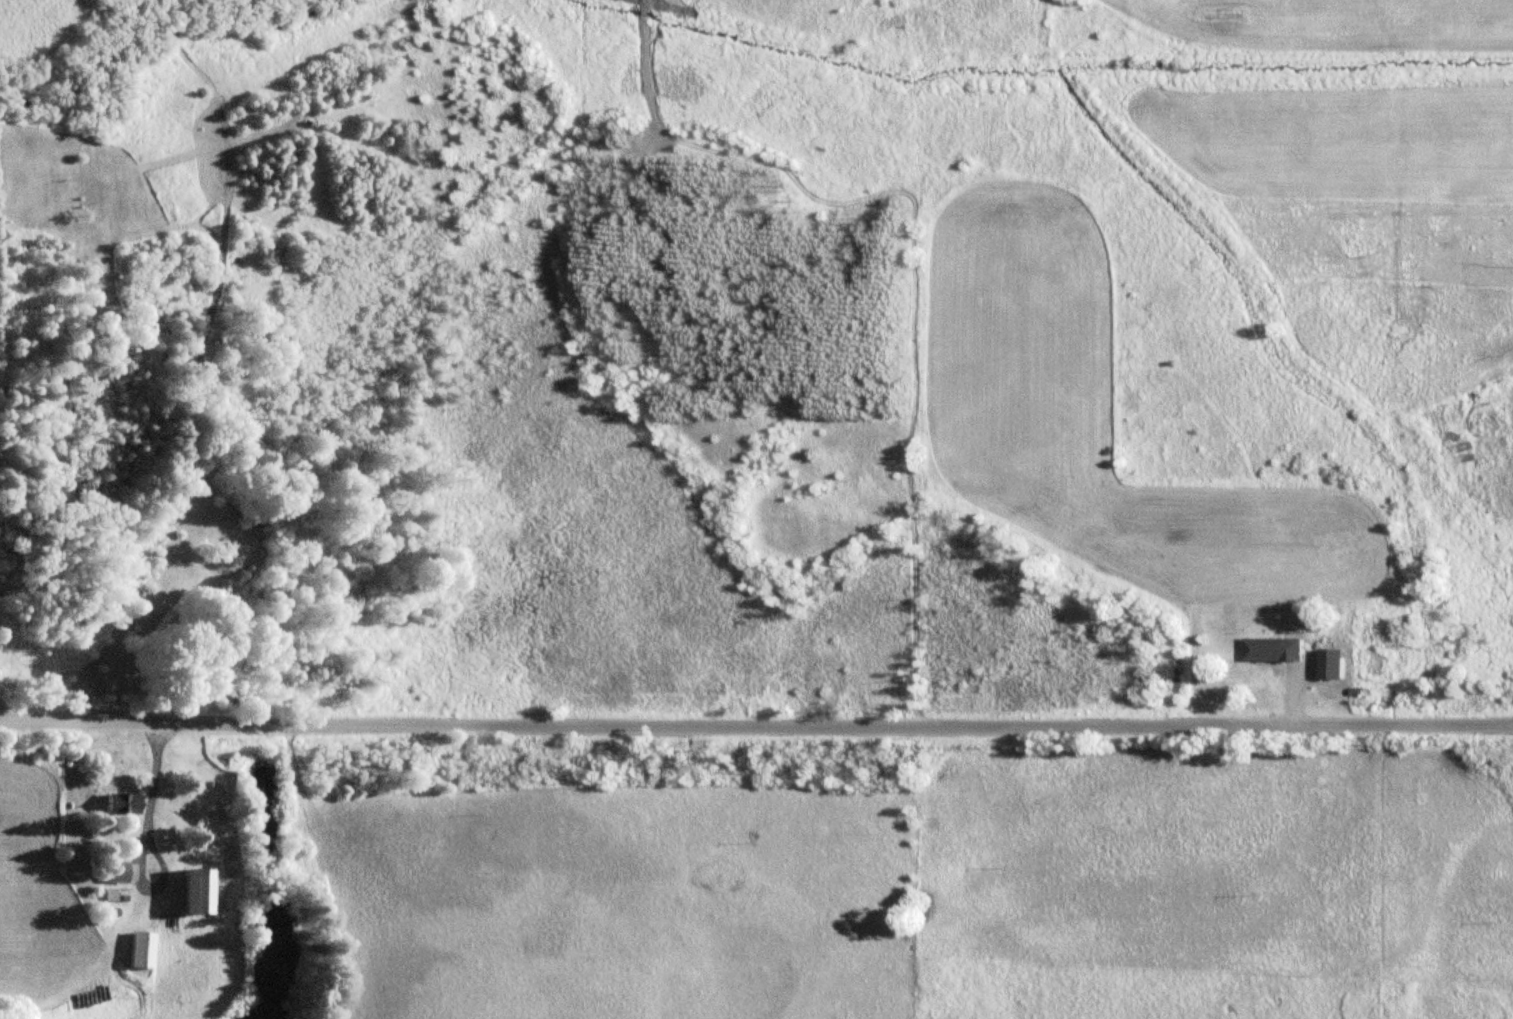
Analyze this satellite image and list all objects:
building: (1275, 649)
road: (756, 723)
building: (125, 803)
building: (121, 872)
building: (203, 891)
building: (146, 950)

